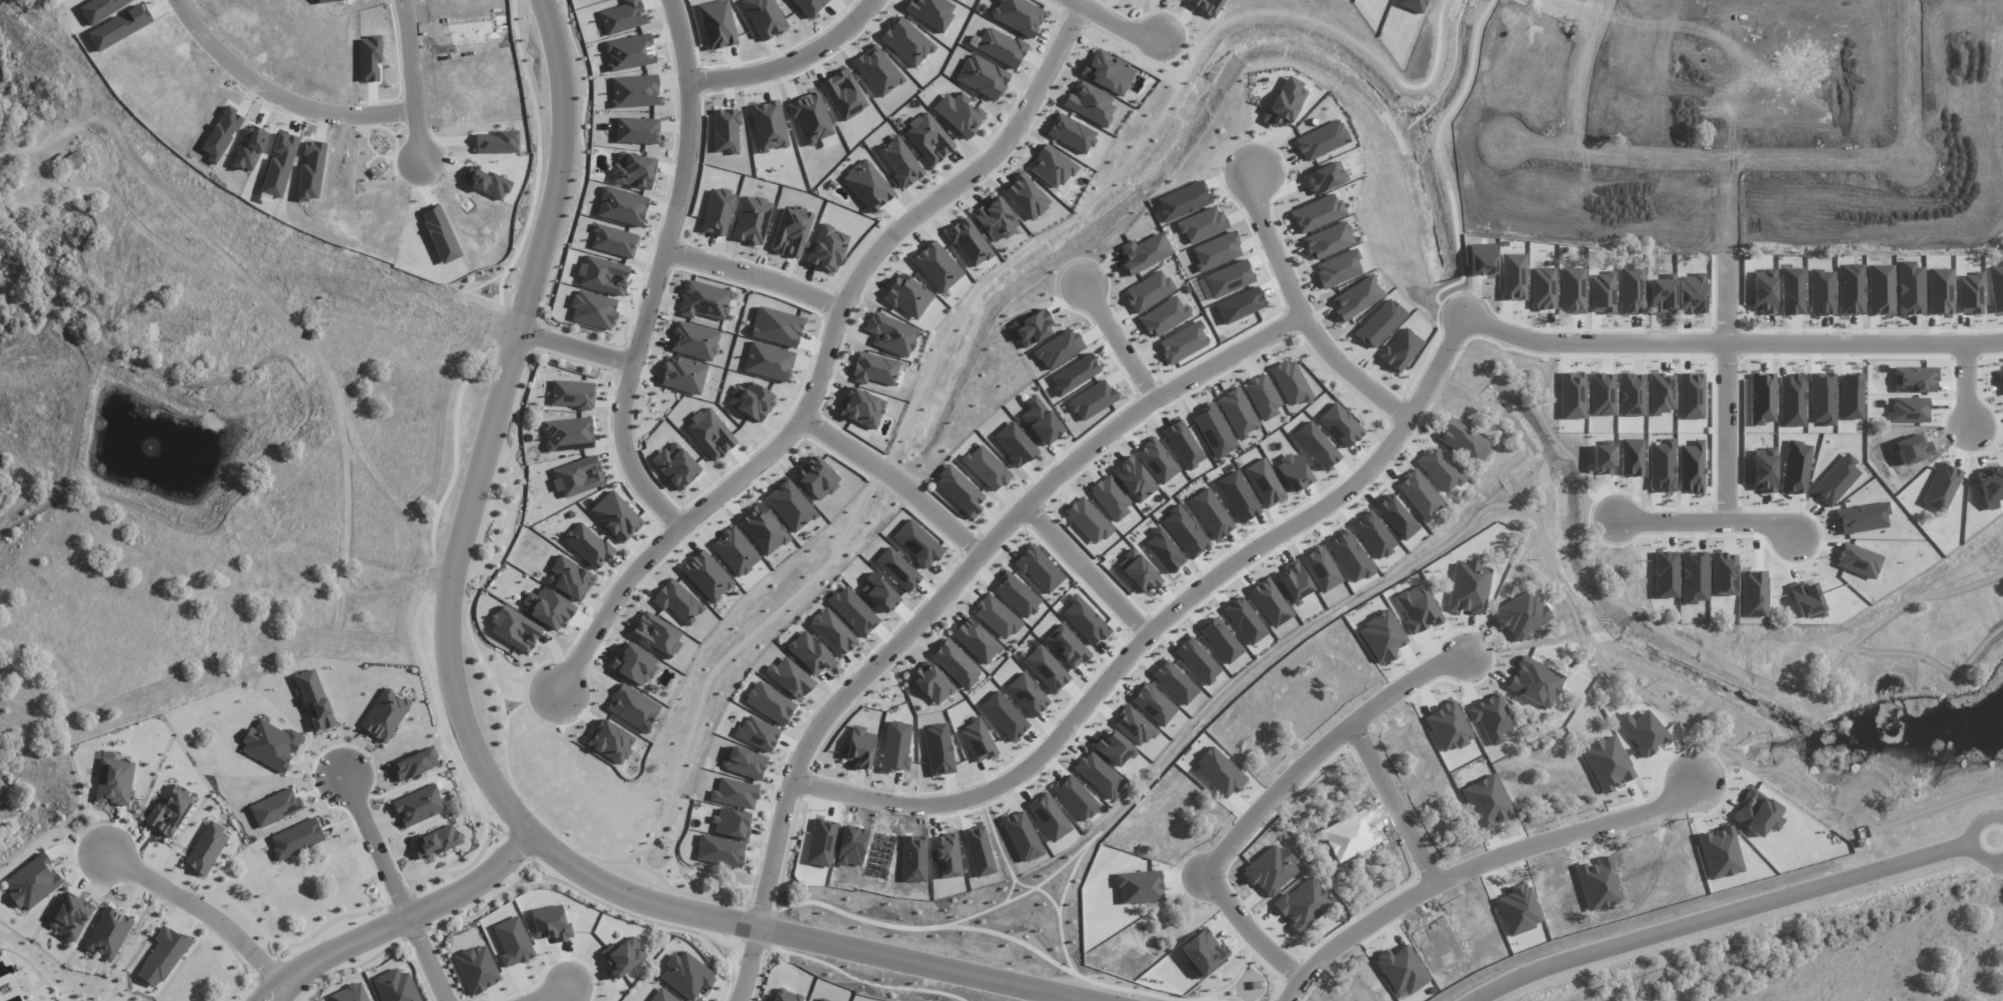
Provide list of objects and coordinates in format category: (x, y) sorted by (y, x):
road: (1584, 5)
building: (809, 6)
building: (1207, 6)
building: (1018, 16)
building: (623, 17)
building: (764, 17)
road: (1110, 21)
building: (717, 24)
building: (906, 42)
building: (1000, 47)
building: (629, 52)
road: (788, 64)
road: (1582, 69)
building: (877, 71)
building: (1107, 72)
building: (982, 77)
road: (414, 81)
road: (286, 86)
building: (635, 91)
building: (843, 94)
building: (1090, 103)
building: (1285, 103)
building: (959, 113)
building: (813, 122)
building: (768, 126)
building: (637, 130)
building: (725, 130)
building: (929, 138)
building: (1321, 140)
road: (12, 142)
building: (497, 142)
road: (1789, 147)
building: (249, 148)
building: (71, 161)
building: (899, 161)
building: (1052, 167)
building: (633, 171)
building: (1324, 177)
building: (867, 185)
building: (1026, 196)
building: (1182, 201)
building: (622, 206)
building: (717, 212)
building: (1316, 213)
building: (996, 219)
building: (751, 220)
building: (1202, 225)
building: (791, 231)
building: (614, 241)
building: (1328, 241)
road: (1727, 241)
building: (969, 242)
building: (827, 248)
building: (1216, 251)
building: (1144, 253)
building: (937, 266)
building: (1338, 268)
road: (658, 271)
building: (602, 272)
road: (755, 273)
building: (1228, 279)
building: (1148, 291)
building: (907, 296)
building: (1357, 298)
building: (704, 301)
building: (1239, 305)
building: (593, 309)
building: (1165, 316)
road: (1295, 318)
building: (1380, 323)
building: (776, 326)
building: (1032, 328)
building: (891, 334)
road: (534, 336)
road: (1717, 336)
building: (694, 341)
building: (1183, 342)
road: (561, 343)
road: (1115, 346)
road: (830, 349)
building: (1058, 349)
building: (1401, 349)
building: (768, 361)
road: (621, 362)
building: (875, 369)
building: (683, 375)
building: (1074, 375)
building: (1290, 382)
road: (1967, 387)
building: (573, 394)
building: (1262, 396)
building: (1092, 400)
building: (751, 401)
building: (861, 408)
building: (1237, 413)
building: (1040, 421)
building: (1340, 425)
road: (1726, 428)
building: (1214, 431)
building: (710, 433)
building: (568, 434)
building: (1463, 440)
building: (1014, 444)
building: (1183, 444)
building: (1316, 445)
building: (1157, 461)
building: (675, 465)
building: (986, 468)
building: (1440, 470)
building: (1293, 472)
building: (577, 476)
building: (816, 478)
road: (894, 478)
building: (1134, 479)
building: (1264, 483)
building: (959, 491)
building: (1419, 495)
building: (1110, 497)
building: (1210, 514)
building: (616, 516)
building: (1396, 517)
building: (1088, 520)
road: (1708, 520)
building: (762, 529)
building: (1184, 531)
building: (1373, 535)
building: (917, 543)
road: (455, 544)
building: (587, 545)
building: (734, 551)
building: (1164, 552)
building: (1349, 556)
road: (1088, 566)
building: (897, 569)
building: (1039, 569)
building: (1321, 569)
building: (1140, 571)
building: (706, 576)
road: (614, 577)
building: (569, 578)
building: (1293, 582)
building: (879, 593)
building: (1016, 595)
road: (936, 600)
building: (677, 602)
building: (1269, 603)
building: (548, 608)
building: (853, 611)
building: (996, 617)
building: (1085, 620)
building: (1245, 621)
building: (515, 629)
building: (832, 632)
road: (1149, 632)
building: (655, 636)
building: (1221, 640)
road: (744, 641)
building: (975, 641)
building: (1067, 646)
building: (810, 653)
road: (861, 659)
building: (1197, 660)
building: (634, 664)
building: (955, 664)
building: (1046, 669)
building: (790, 678)
building: (1174, 682)
building: (931, 683)
building: (1027, 694)
road: (511, 697)
building: (314, 700)
building: (769, 703)
building: (1153, 704)
building: (633, 707)
building: (384, 715)
road: (506, 716)
building: (1133, 726)
building: (757, 733)
building: (977, 741)
building: (610, 742)
building: (270, 745)
building: (860, 746)
building: (895, 746)
building: (1111, 748)
building: (744, 762)
building: (1098, 775)
building: (113, 779)
building: (734, 793)
building: (1075, 797)
road: (1267, 802)
road: (1394, 804)
building: (418, 806)
building: (275, 807)
building: (169, 810)
building: (1049, 817)
building: (731, 823)
road: (1976, 829)
road: (553, 830)
building: (1022, 836)
building: (296, 839)
building: (436, 842)
building: (206, 848)
road: (641, 851)
building: (720, 851)
building: (946, 856)
road: (1479, 868)
road: (710, 875)
building: (32, 882)
road: (397, 886)
road: (714, 900)
road: (198, 904)
road: (413, 909)
road: (1719, 910)
building: (71, 917)
building: (108, 933)
building: (162, 956)
building: (623, 956)
road: (941, 960)
building: (477, 969)
building: (687, 975)
road: (263, 984)
road: (281, 987)
building: (394, 987)
road: (573, 991)
road: (548, 992)
road: (1985, 993)
building: (350, 994)
building: (662, 996)
building: (784, 997)
building: (822, 999)

